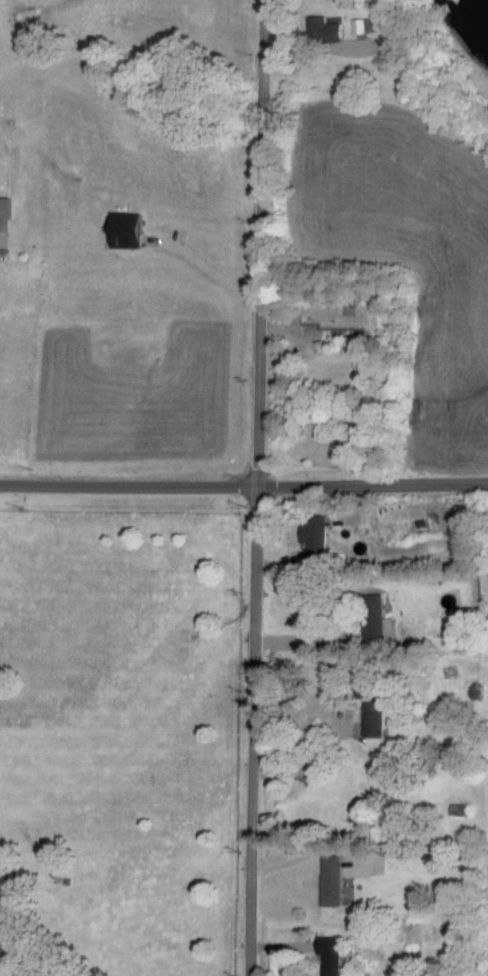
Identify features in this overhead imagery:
building: (368, 26)
building: (333, 30)
building: (406, 43)
building: (8, 207)
building: (134, 230)
road: (211, 267)
road: (244, 486)
road: (257, 487)
building: (323, 538)
building: (378, 617)
building: (462, 632)
building: (450, 633)
road: (305, 640)
building: (382, 717)
road: (310, 761)
building: (465, 810)
building: (337, 880)
road: (34, 955)
building: (337, 956)

